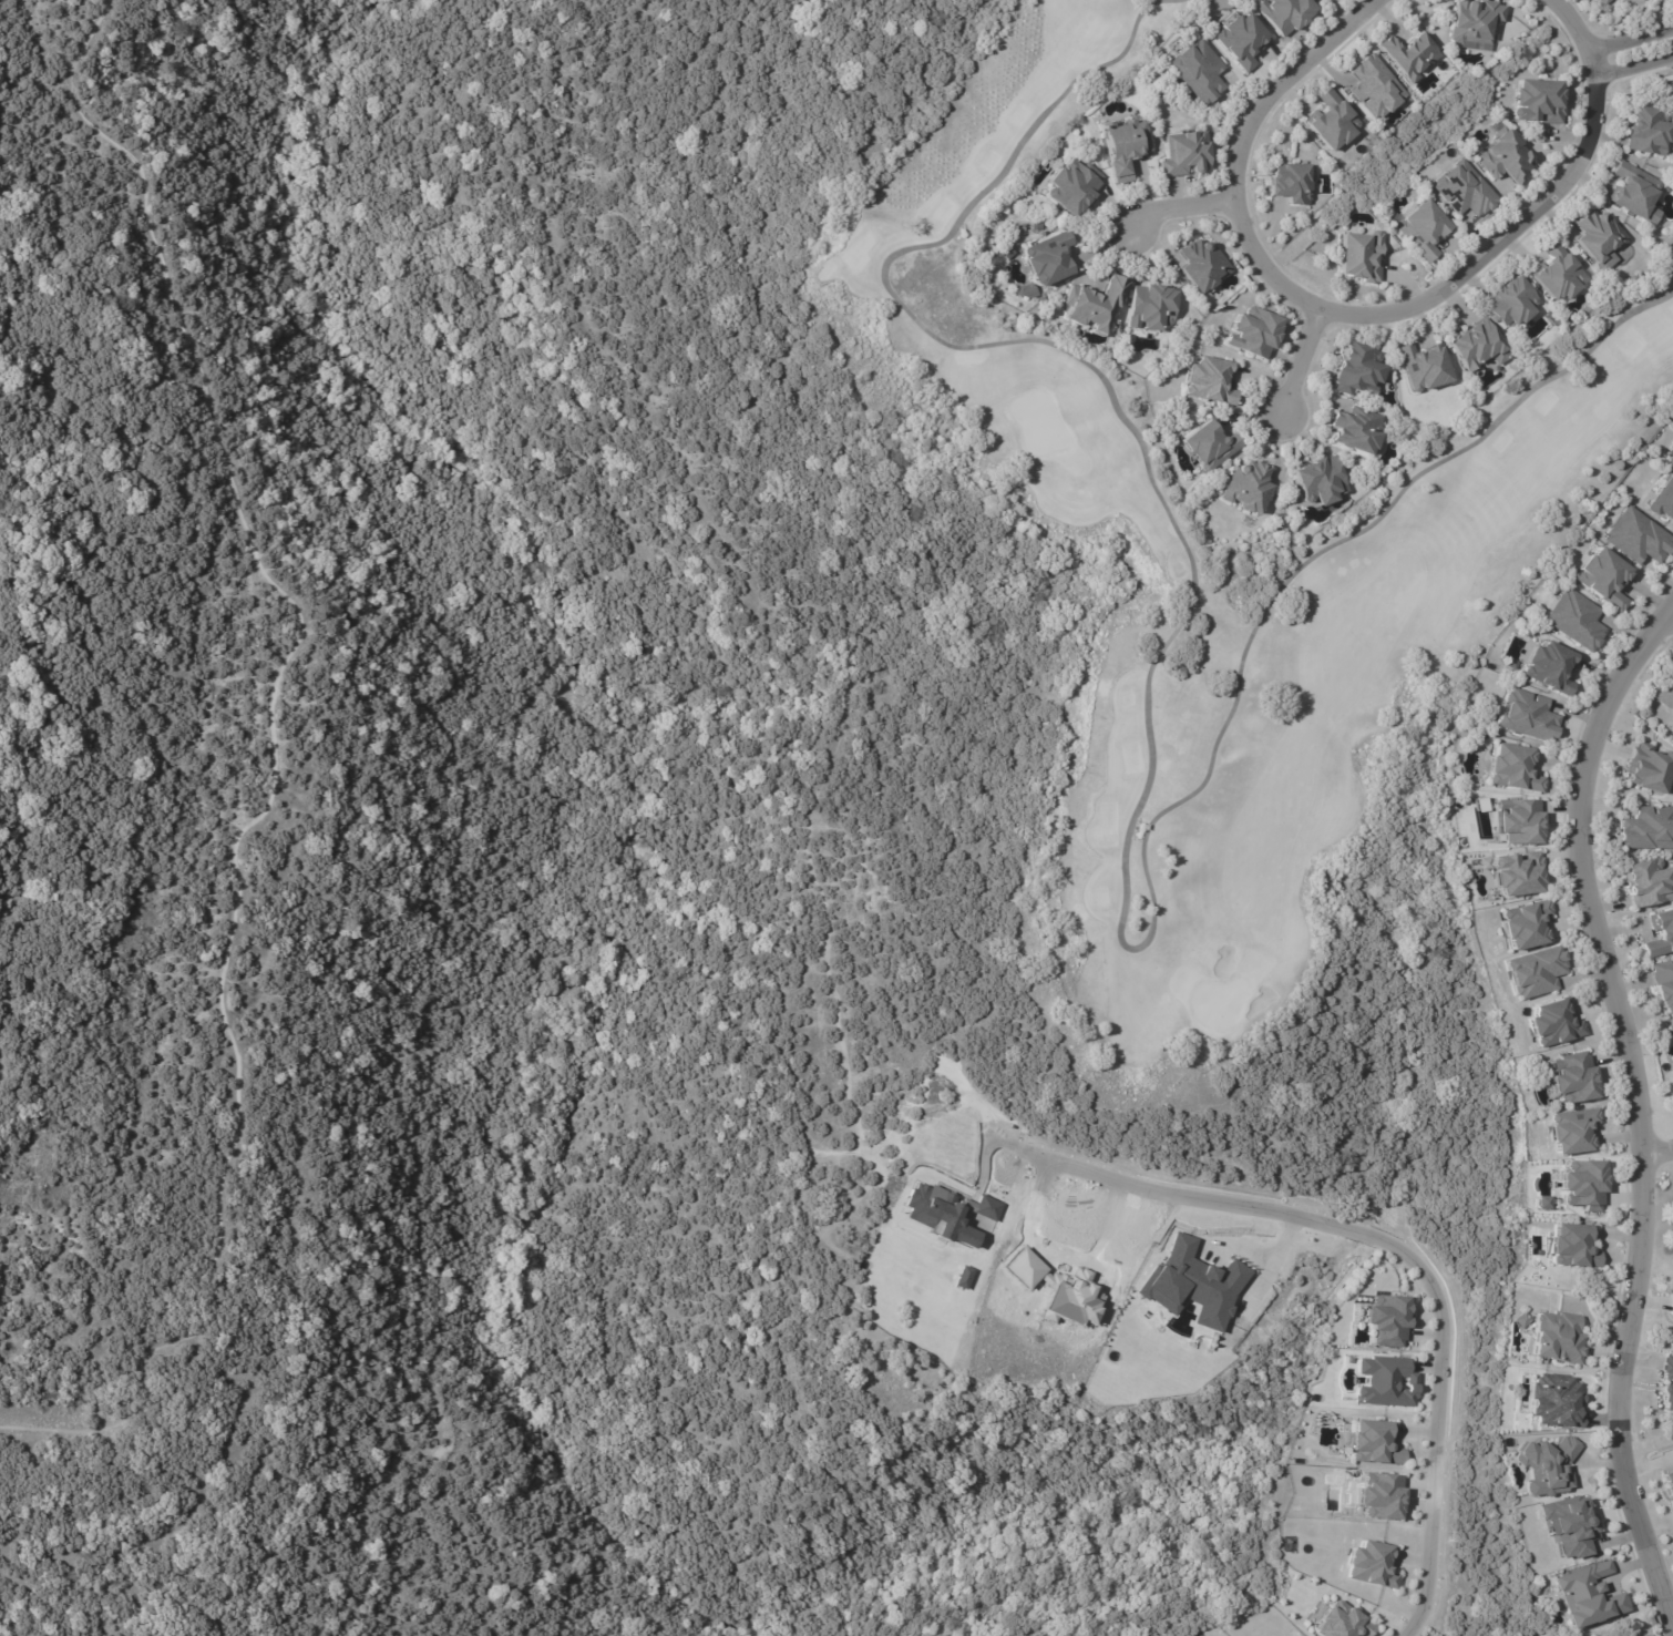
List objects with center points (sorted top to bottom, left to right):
building: (1603, 1)
building: (1285, 13)
building: (1471, 22)
building: (1242, 40)
road: (1634, 40)
building: (1408, 55)
road: (1635, 67)
building: (1192, 70)
building: (1372, 86)
building: (1536, 102)
building: (1328, 123)
building: (1643, 127)
building: (1119, 146)
building: (1182, 153)
building: (1502, 157)
building: (1289, 183)
building: (1069, 186)
building: (1461, 190)
building: (1630, 193)
road: (1183, 207)
building: (1421, 229)
building: (1594, 239)
building: (1002, 253)
building: (1356, 258)
building: (1043, 263)
building: (1198, 265)
building: (1553, 274)
building: (1510, 300)
building: (1090, 303)
building: (1149, 309)
road: (1365, 317)
building: (1113, 331)
building: (1252, 331)
building: (1477, 345)
building: (1421, 365)
road: (1293, 368)
building: (1356, 370)
building: (1213, 382)
building: (1354, 432)
building: (1205, 446)
building: (1671, 447)
building: (1671, 462)
building: (1315, 482)
building: (1245, 487)
building: (1662, 498)
building: (1638, 539)
building: (1601, 576)
park: (1195, 599)
road: (1667, 615)
building: (1572, 618)
building: (1549, 667)
building: (1666, 693)
building: (1528, 717)
building: (1512, 768)
building: (1648, 768)
building: (1517, 820)
building: (1646, 828)
building: (1516, 872)
building: (1645, 882)
building: (1521, 924)
building: (1660, 935)
building: (1530, 972)
building: (1662, 986)
building: (1549, 1023)
building: (1568, 1075)
building: (1671, 1075)
building: (1672, 1086)
road: (1644, 1094)
building: (1567, 1132)
road: (1659, 1149)
building: (1580, 1186)
building: (937, 1214)
building: (1566, 1247)
road: (1407, 1252)
building: (963, 1277)
building: (1192, 1284)
building: (1671, 1307)
building: (1386, 1321)
building: (1519, 1321)
building: (1552, 1339)
building: (1672, 1343)
building: (1386, 1381)
building: (1667, 1387)
building: (1554, 1400)
building: (1373, 1442)
building: (1547, 1465)
building: (1666, 1480)
building: (1381, 1495)
building: (1670, 1501)
building: (1569, 1525)
building: (1371, 1564)
building: (1588, 1595)
building: (1342, 1622)
building: (1649, 1622)

